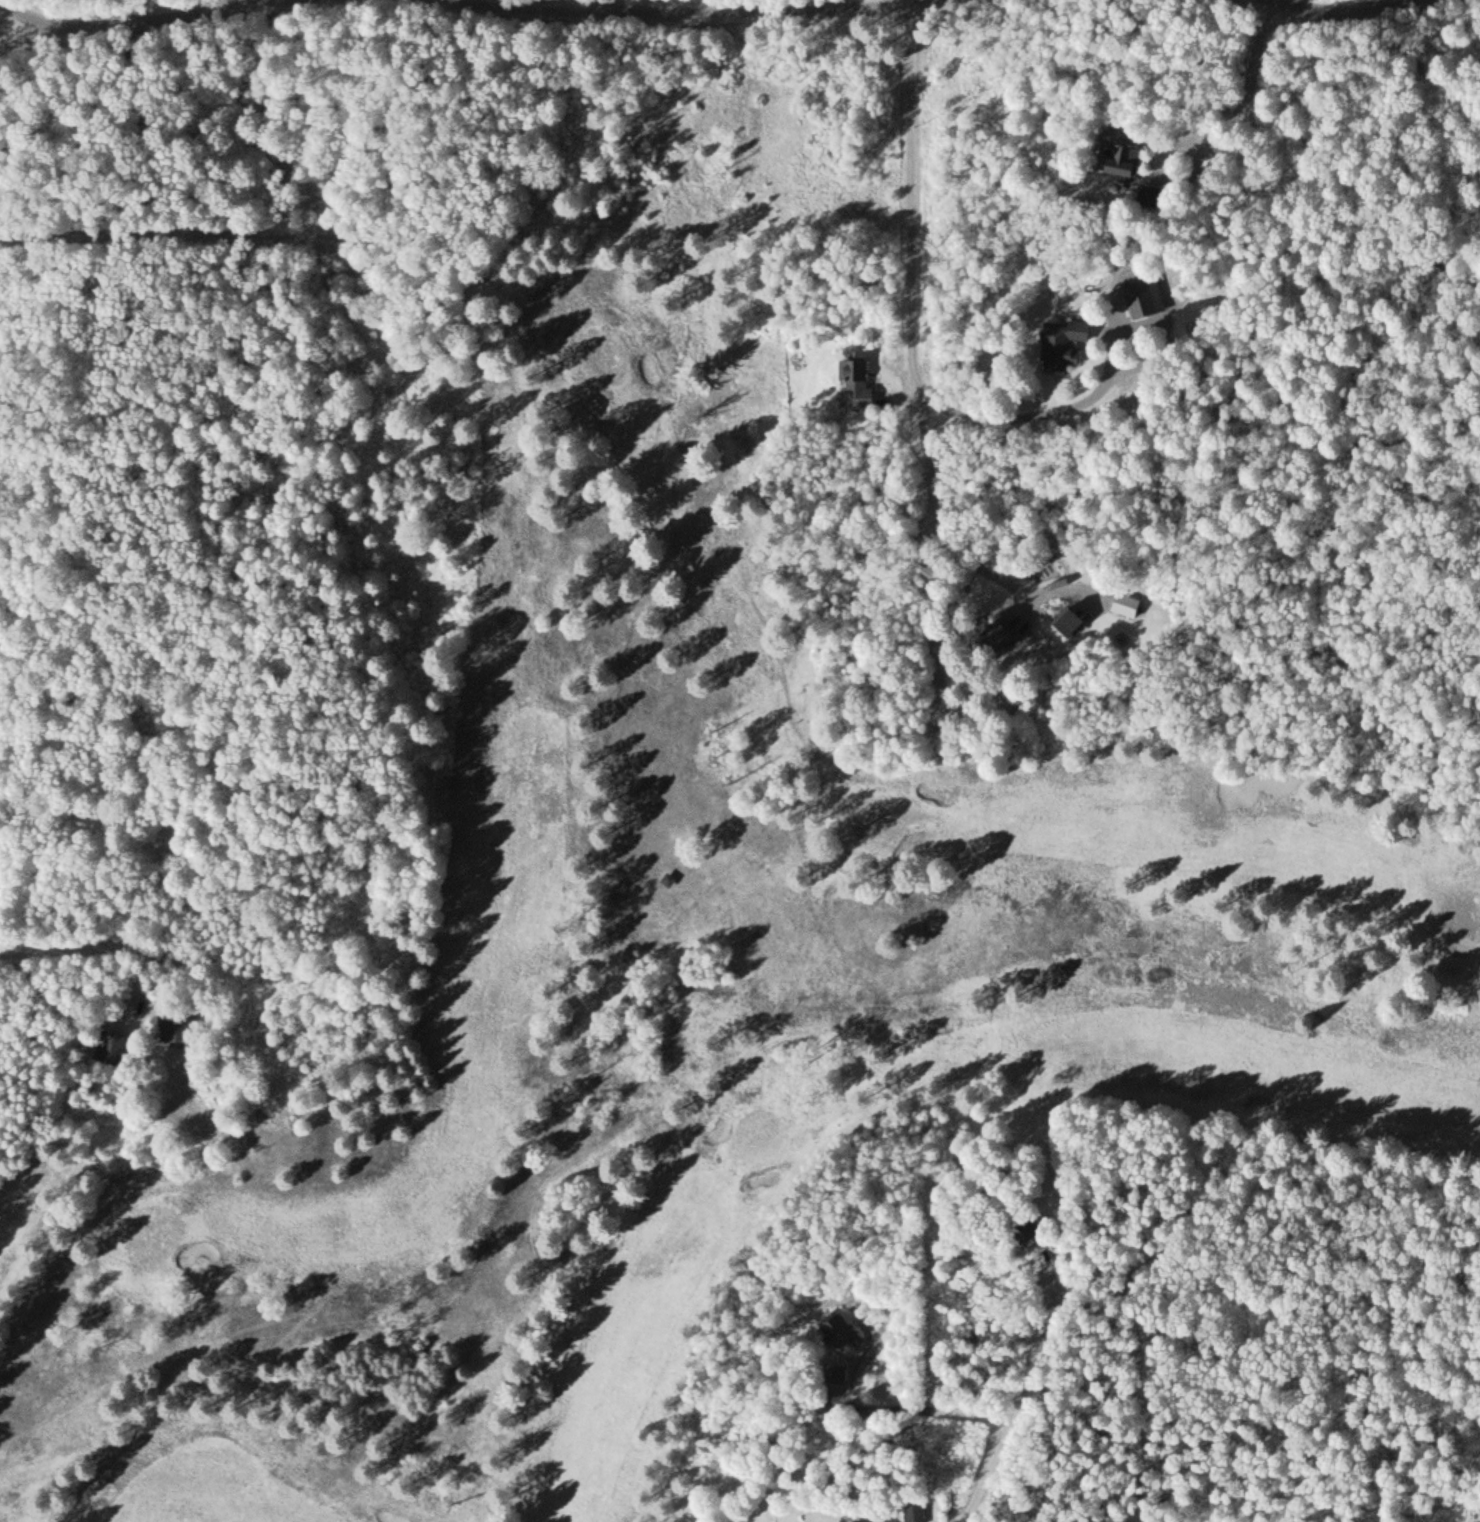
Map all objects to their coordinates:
road: (913, 4)
road: (692, 15)
road: (171, 19)
road: (1352, 20)
building: (1113, 159)
building: (1137, 296)
road: (915, 319)
building: (1056, 342)
building: (853, 380)
building: (1063, 621)
building: (992, 636)
park: (703, 993)
building: (830, 1326)
building: (831, 1372)
road: (1017, 1409)
building: (858, 1520)

